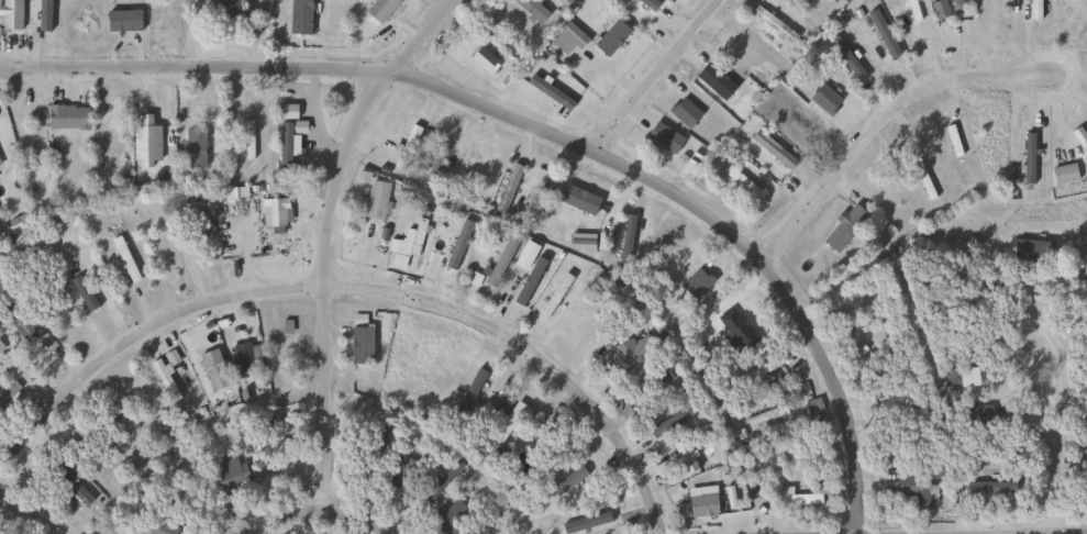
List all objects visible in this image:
building: (563, 3)
building: (802, 3)
building: (648, 4)
building: (956, 7)
building: (380, 9)
building: (532, 9)
building: (912, 10)
building: (939, 10)
building: (1034, 10)
building: (10, 14)
building: (221, 14)
building: (299, 16)
building: (773, 25)
building: (881, 34)
building: (567, 38)
building: (484, 60)
road: (655, 76)
building: (714, 81)
road: (1061, 94)
building: (66, 116)
road: (542, 129)
building: (100, 135)
building: (1079, 138)
building: (247, 140)
road: (858, 140)
building: (952, 140)
building: (145, 141)
building: (406, 146)
building: (193, 147)
building: (285, 147)
building: (773, 149)
building: (435, 162)
building: (465, 170)
building: (1063, 173)
building: (740, 180)
building: (507, 188)
building: (373, 200)
building: (573, 207)
building: (276, 215)
building: (195, 224)
building: (844, 226)
road: (329, 231)
building: (411, 241)
building: (457, 244)
building: (123, 258)
building: (499, 262)
building: (976, 263)
building: (1085, 266)
building: (472, 279)
road: (361, 286)
building: (554, 296)
road: (1005, 320)
building: (18, 322)
building: (359, 340)
building: (1, 347)
building: (630, 352)
building: (244, 360)
building: (212, 369)
building: (973, 376)
building: (163, 379)
building: (468, 393)
building: (149, 397)
building: (896, 401)
building: (766, 419)
building: (507, 421)
building: (1084, 448)
building: (686, 456)
road: (1063, 469)
building: (401, 472)
building: (231, 474)
building: (68, 488)
building: (912, 490)
building: (795, 497)
road: (318, 502)
building: (701, 504)
road: (26, 512)
building: (155, 526)
road: (1001, 529)

